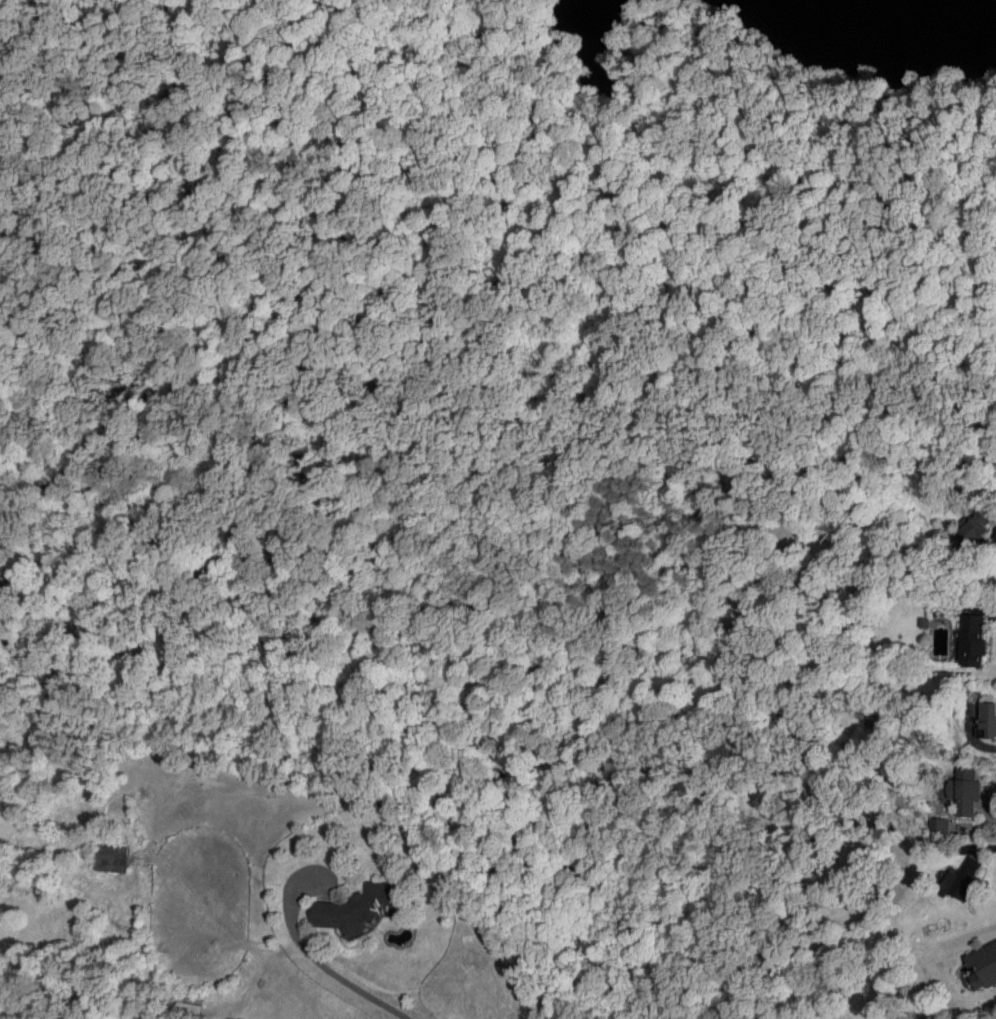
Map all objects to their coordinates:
road: (369, 102)
road: (662, 156)
road: (529, 298)
road: (222, 303)
building: (976, 525)
building: (973, 640)
building: (987, 720)
building: (965, 791)
building: (940, 827)
building: (961, 880)
building: (358, 908)
building: (983, 966)
road: (340, 977)
building: (188, 1011)

